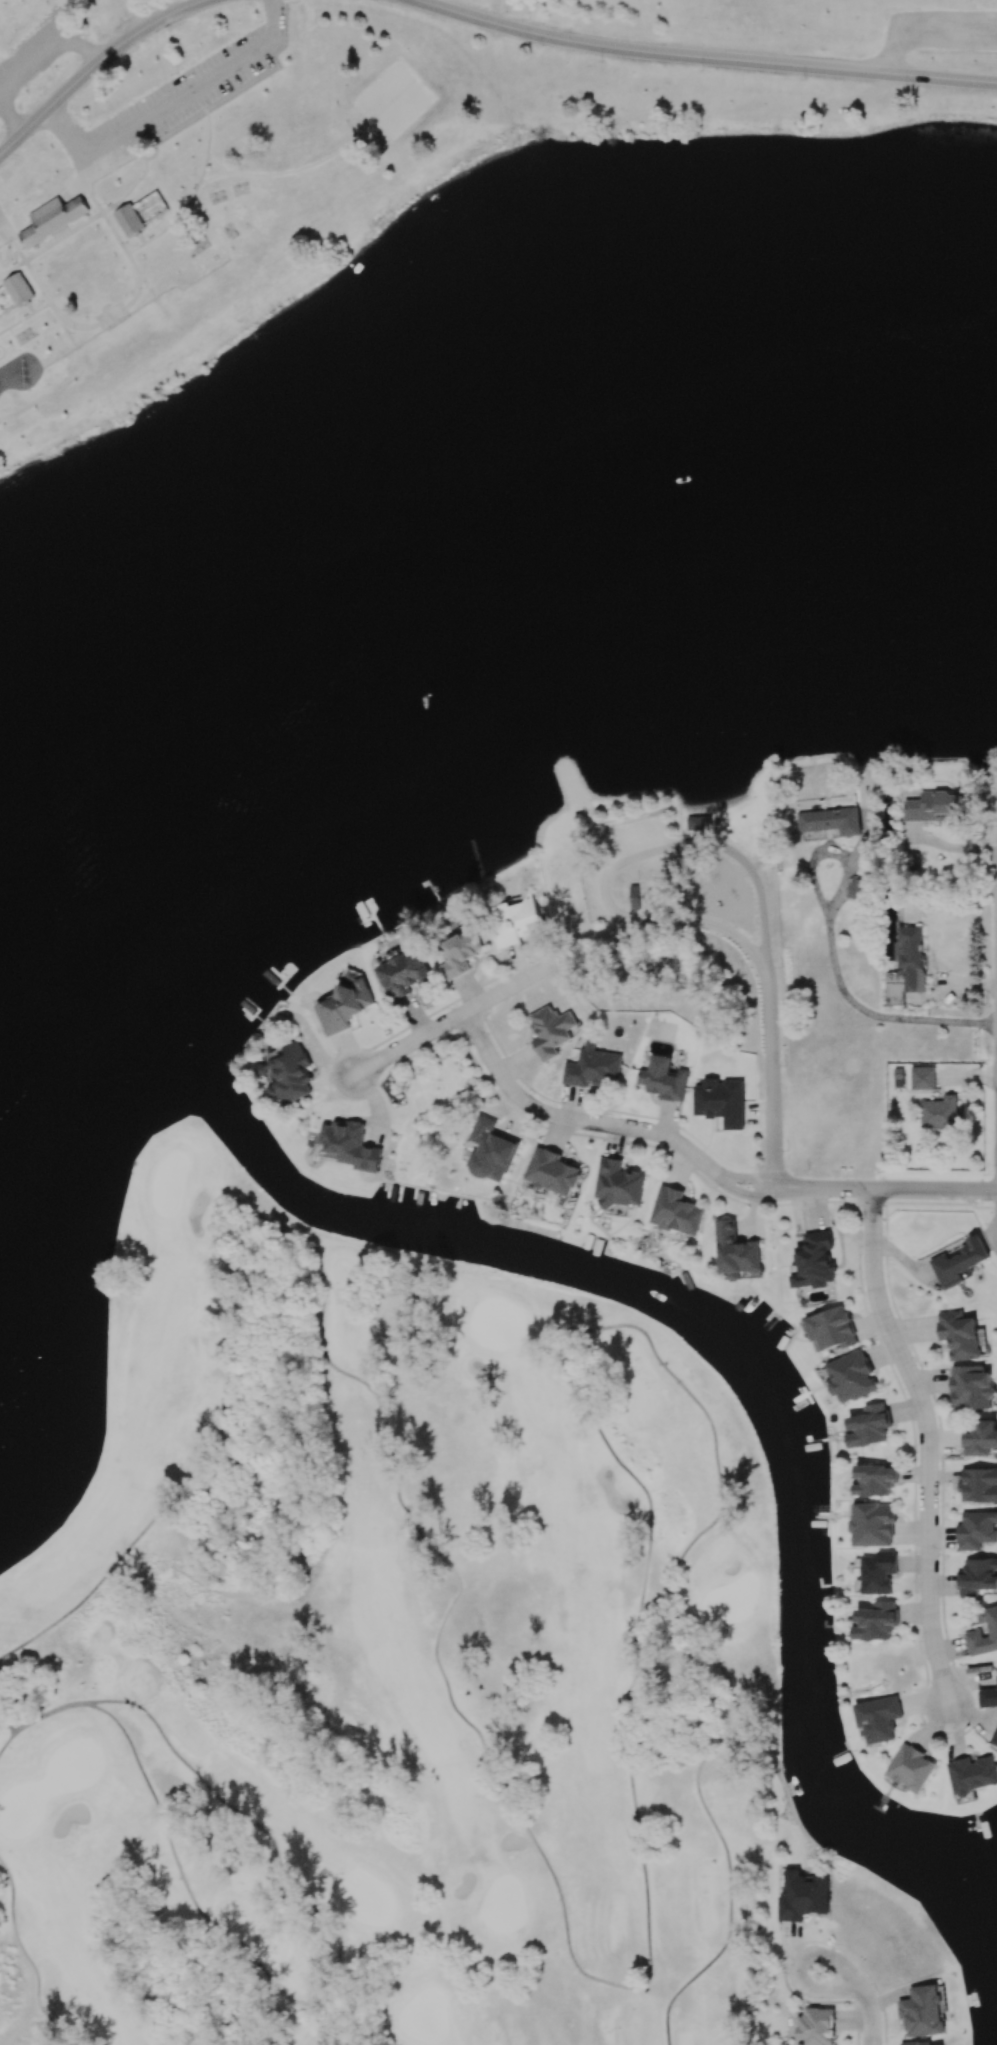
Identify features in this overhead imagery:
parking lot: (940, 28)
parking lot: (35, 53)
road: (702, 58)
road: (95, 65)
parking lot: (182, 95)
park: (389, 96)
building: (51, 218)
building: (128, 220)
parking lot: (5, 230)
building: (17, 289)
park: (433, 334)
building: (935, 806)
building: (831, 821)
building: (698, 823)
building: (856, 888)
building: (460, 953)
building: (906, 966)
building: (404, 973)
building: (345, 1003)
road: (857, 1006)
road: (454, 1018)
road: (768, 1020)
building: (550, 1031)
building: (592, 1067)
building: (289, 1073)
building: (899, 1077)
building: (923, 1078)
building: (667, 1079)
building: (721, 1102)
building: (939, 1113)
road: (599, 1122)
building: (350, 1144)
building: (491, 1151)
building: (552, 1172)
building: (618, 1184)
road: (883, 1189)
building: (676, 1211)
building: (736, 1251)
building: (814, 1261)
building: (830, 1329)
building: (959, 1335)
building: (851, 1377)
building: (971, 1388)
building: (869, 1426)
building: (981, 1438)
road: (929, 1444)
building: (875, 1480)
building: (979, 1484)
building: (872, 1524)
building: (977, 1530)
building: (878, 1572)
building: (978, 1576)
building: (876, 1621)
building: (983, 1633)
park: (377, 1650)
building: (878, 1718)
road: (8, 1725)
road: (246, 1819)
road: (161, 1823)
road: (647, 1951)
road: (25, 1955)
road: (864, 1992)
road: (327, 2018)
road: (356, 2020)

